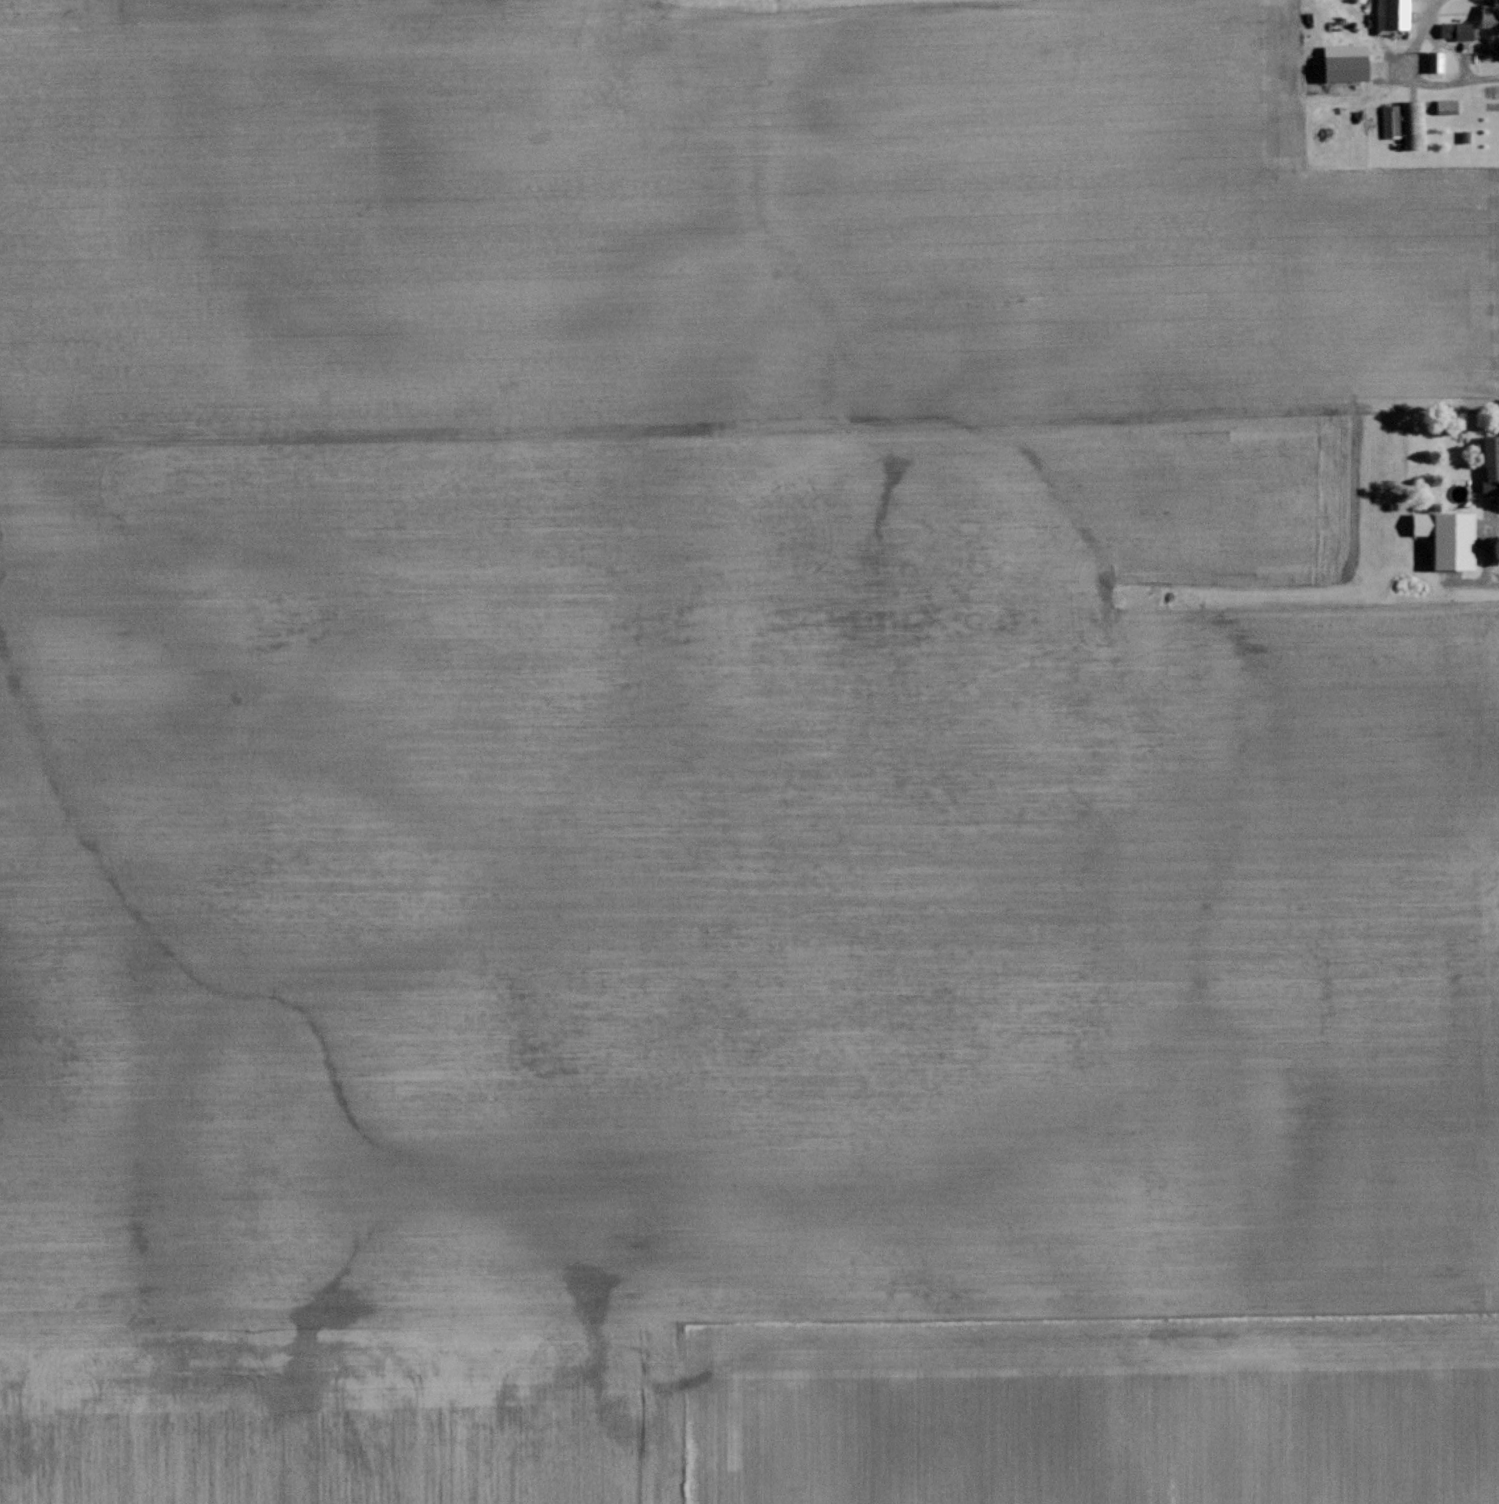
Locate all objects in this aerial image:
building: (1390, 15)
building: (1488, 16)
building: (1343, 63)
building: (1489, 463)
building: (1445, 536)

